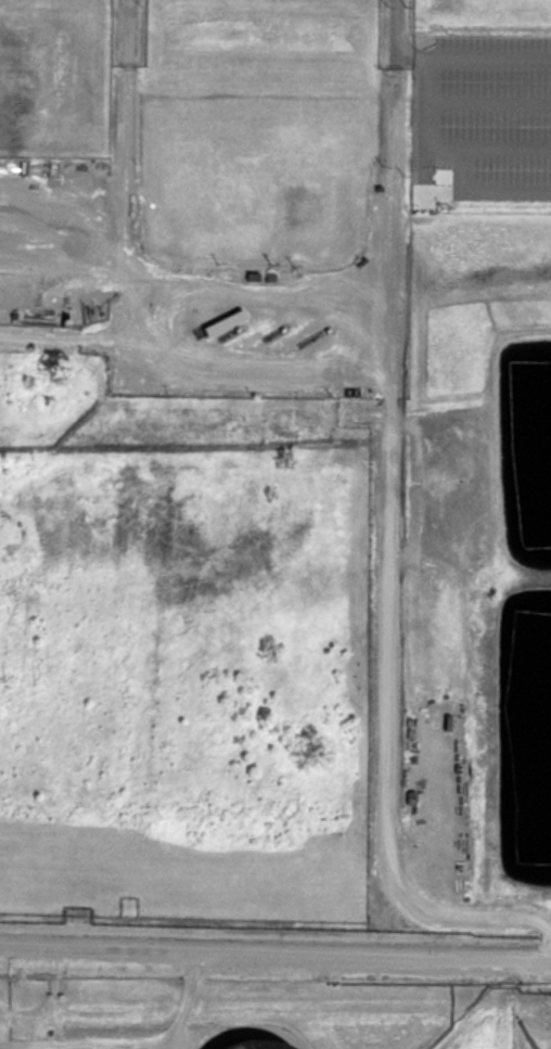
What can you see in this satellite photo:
storage tank: (259, 1042)

